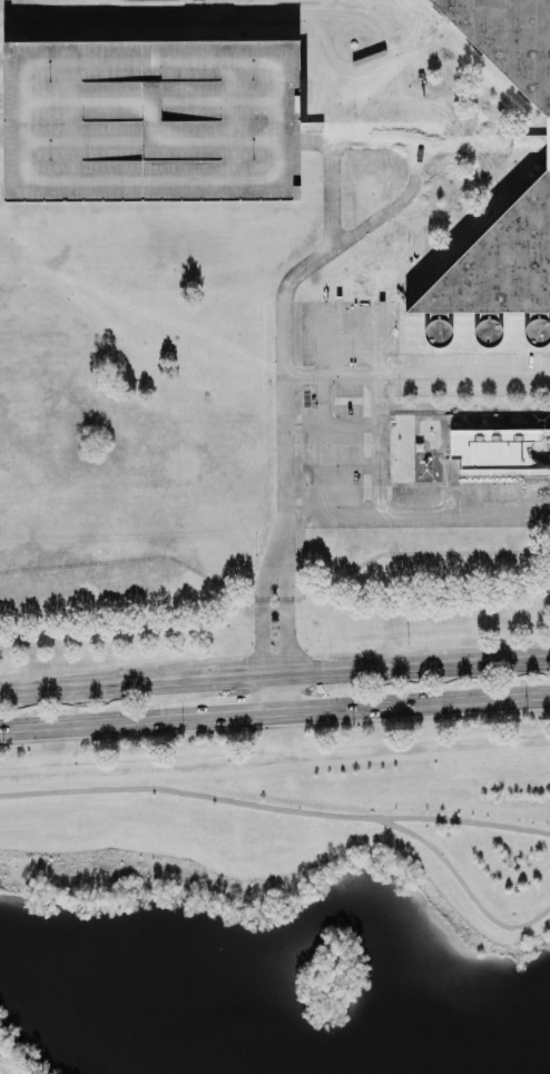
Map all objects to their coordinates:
building: (513, 55)
building: (151, 122)
parking garage: (151, 122)
building: (500, 264)
wastewater plant: (272, 298)
building: (500, 451)
road: (269, 613)
road: (258, 615)
road: (281, 615)
road: (275, 670)
road: (272, 692)
road: (411, 704)
road: (237, 716)
road: (100, 722)
road: (274, 809)
road: (458, 886)
park: (279, 904)

